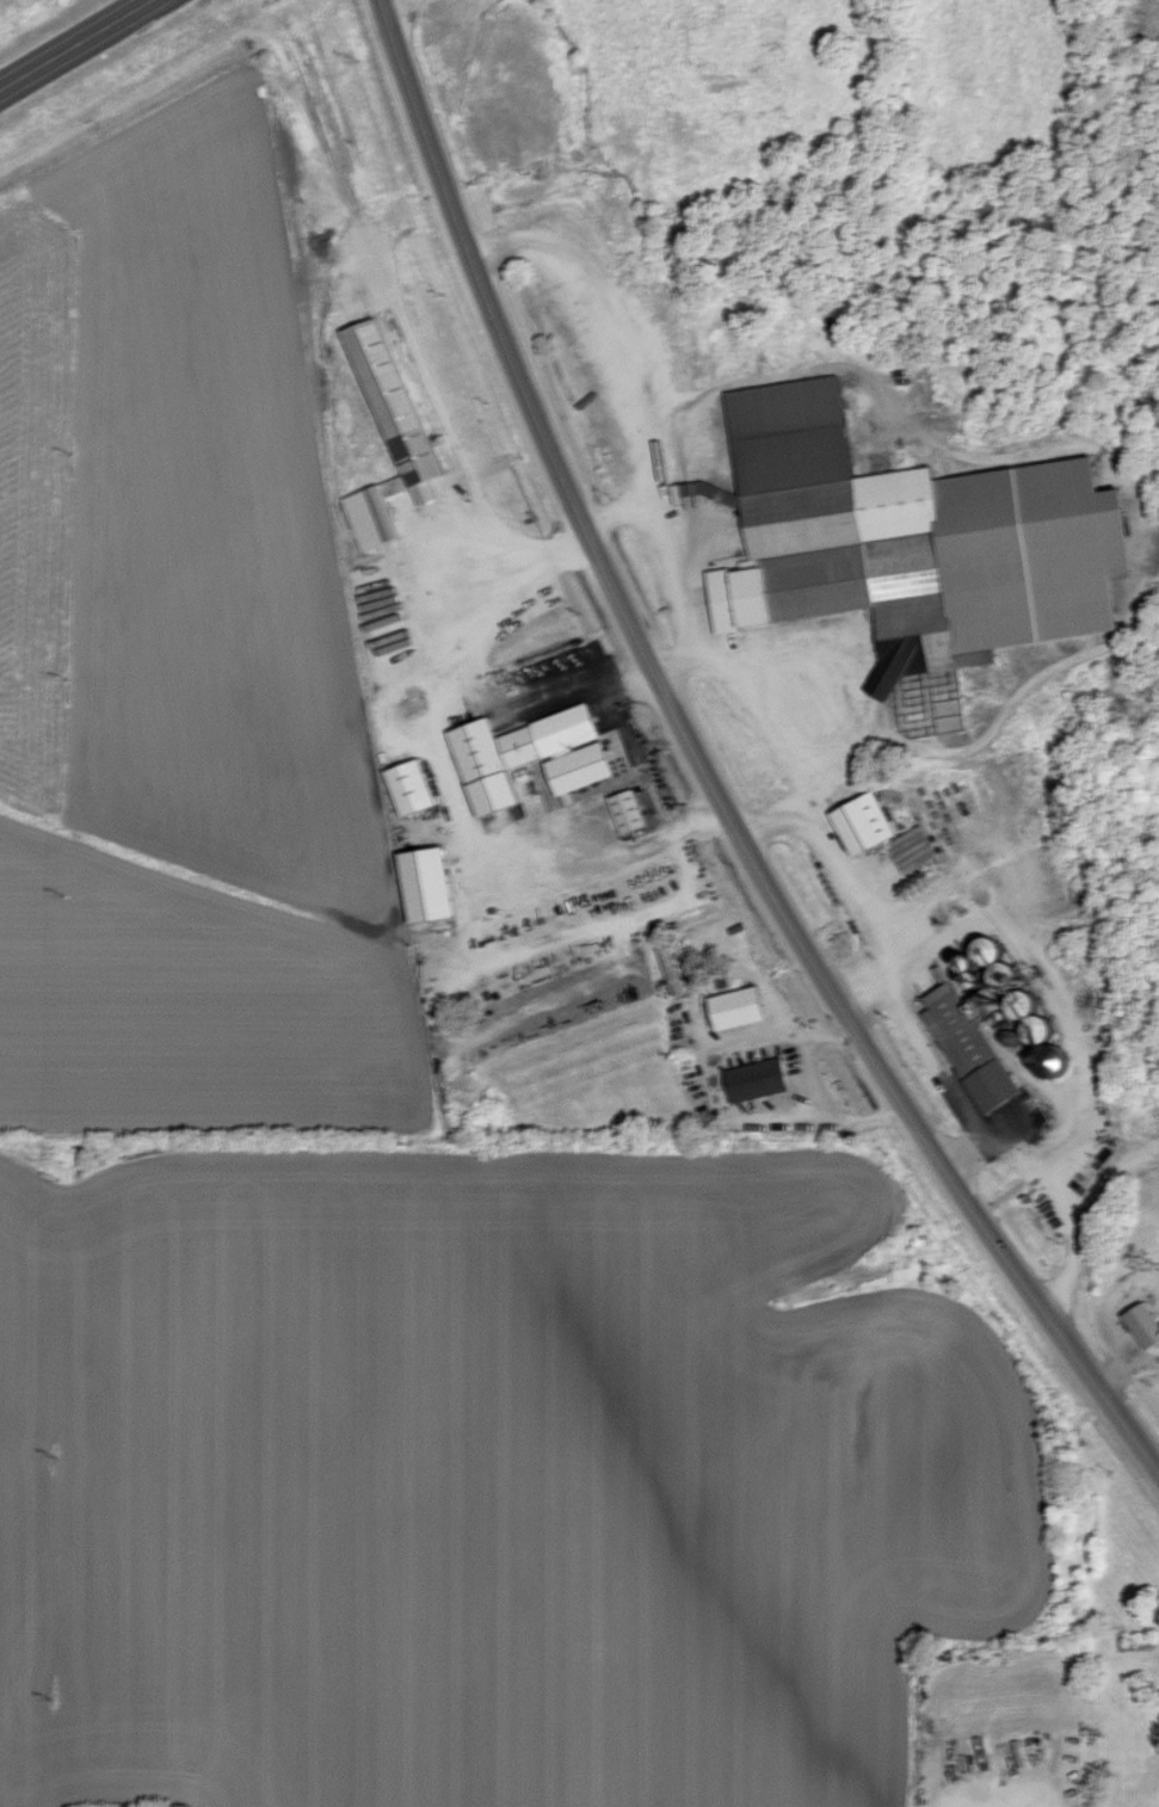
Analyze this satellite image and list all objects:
road: (392, 4)
road: (80, 47)
road: (614, 374)
building: (386, 433)
road: (621, 514)
building: (904, 539)
road: (479, 584)
road: (849, 649)
road: (674, 659)
building: (523, 756)
road: (705, 770)
building: (406, 787)
road: (443, 806)
building: (624, 810)
building: (862, 822)
building: (912, 849)
building: (418, 883)
road: (884, 906)
building: (668, 968)
road: (457, 970)
building: (734, 1007)
building: (981, 1017)
road: (746, 1046)
building: (754, 1079)
road: (963, 1103)
road: (813, 1120)
road: (1073, 1214)
building: (1139, 1325)
road: (1127, 1370)

